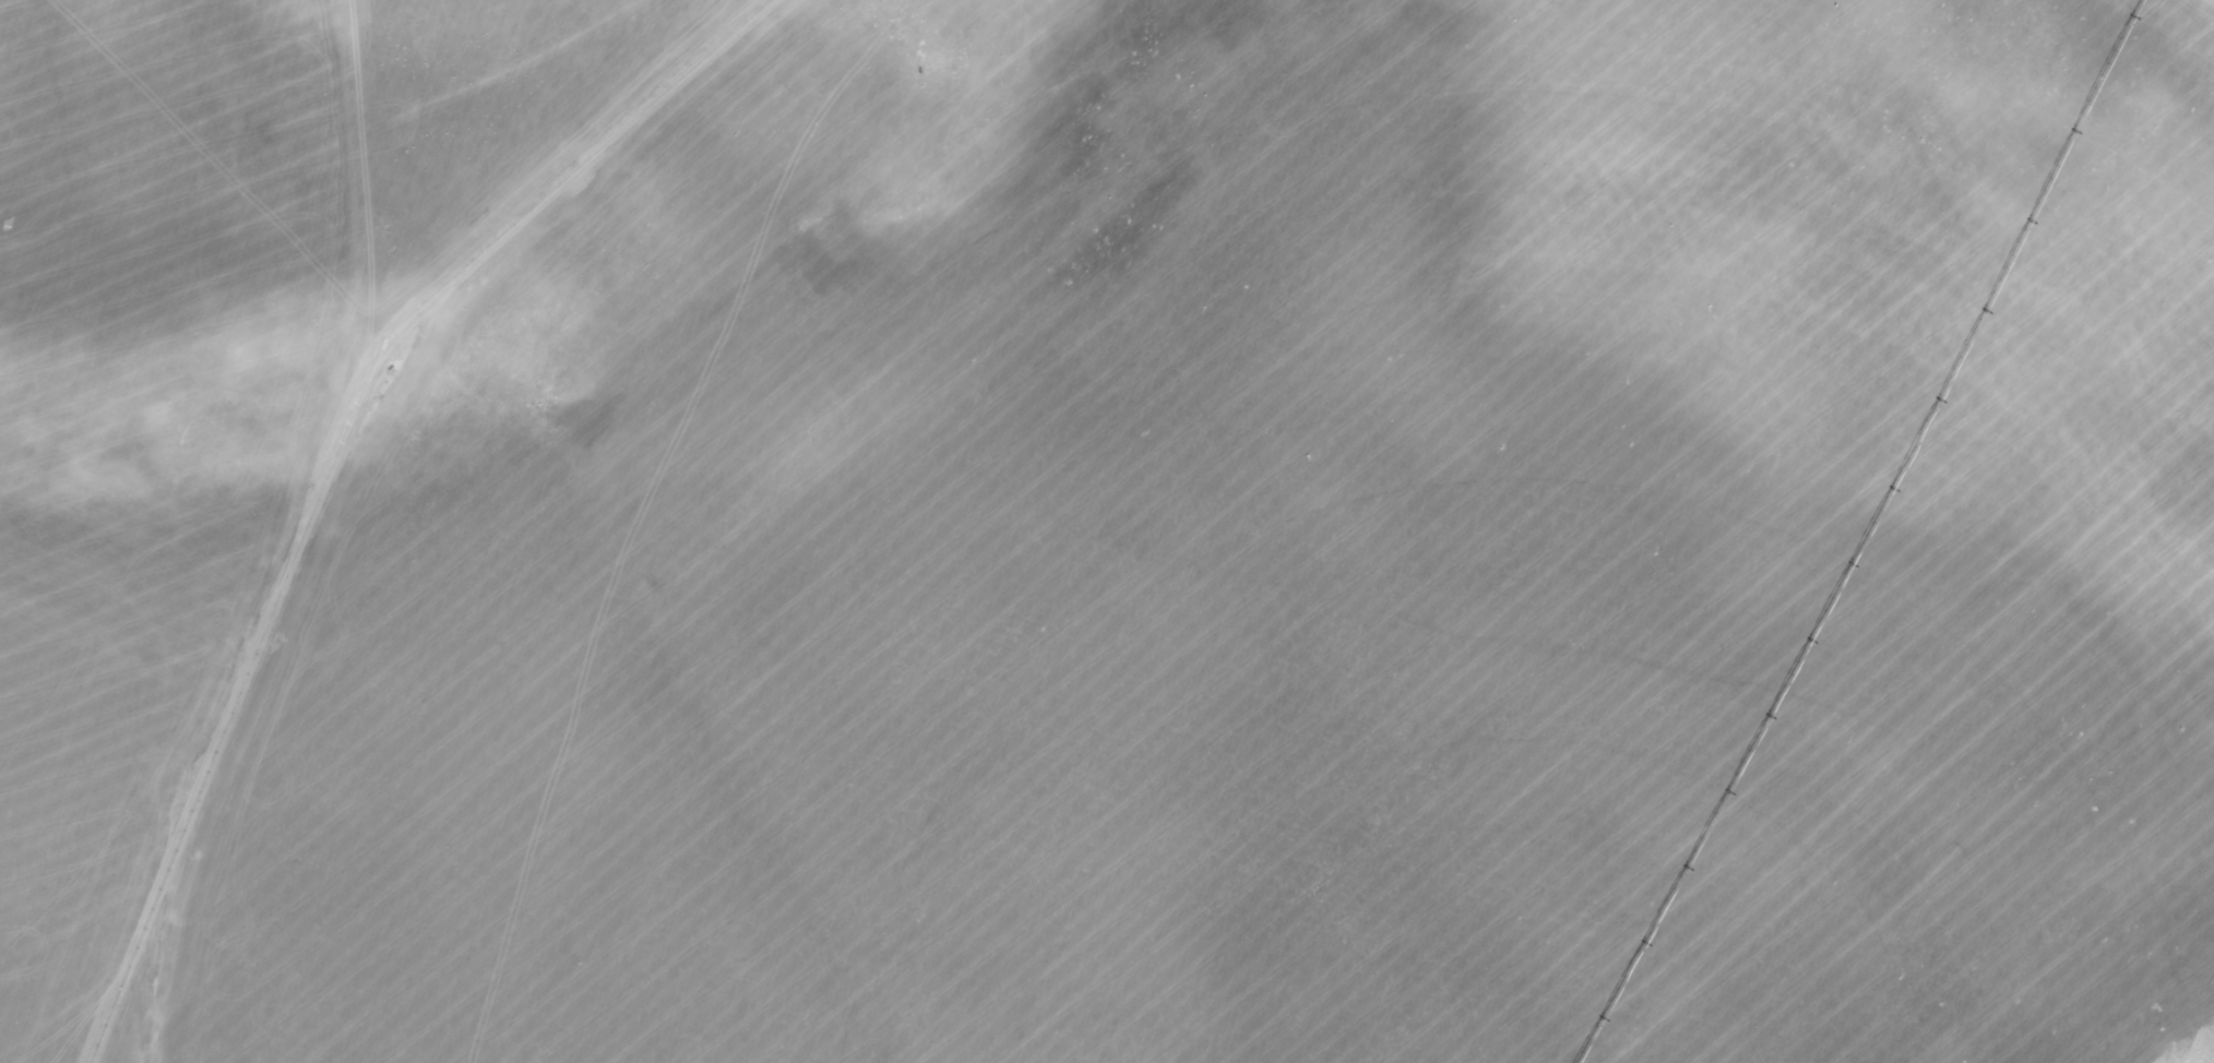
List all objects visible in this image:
road: (515, 528)

